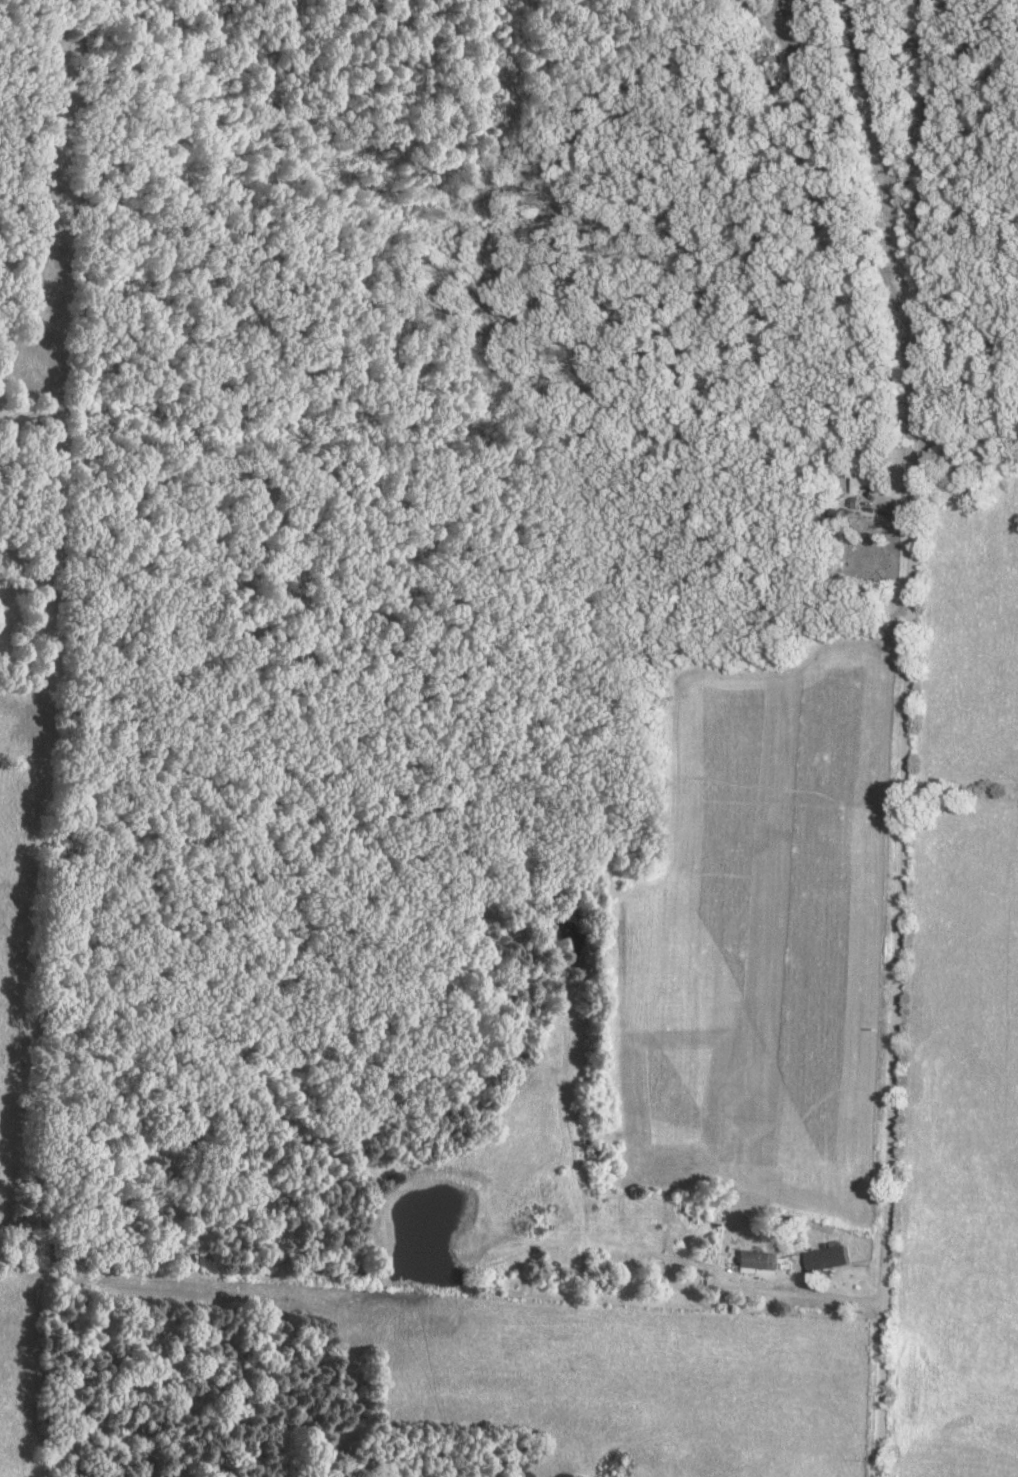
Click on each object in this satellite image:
road: (923, 226)
building: (868, 484)
road: (900, 964)
building: (827, 1258)
building: (754, 1262)

